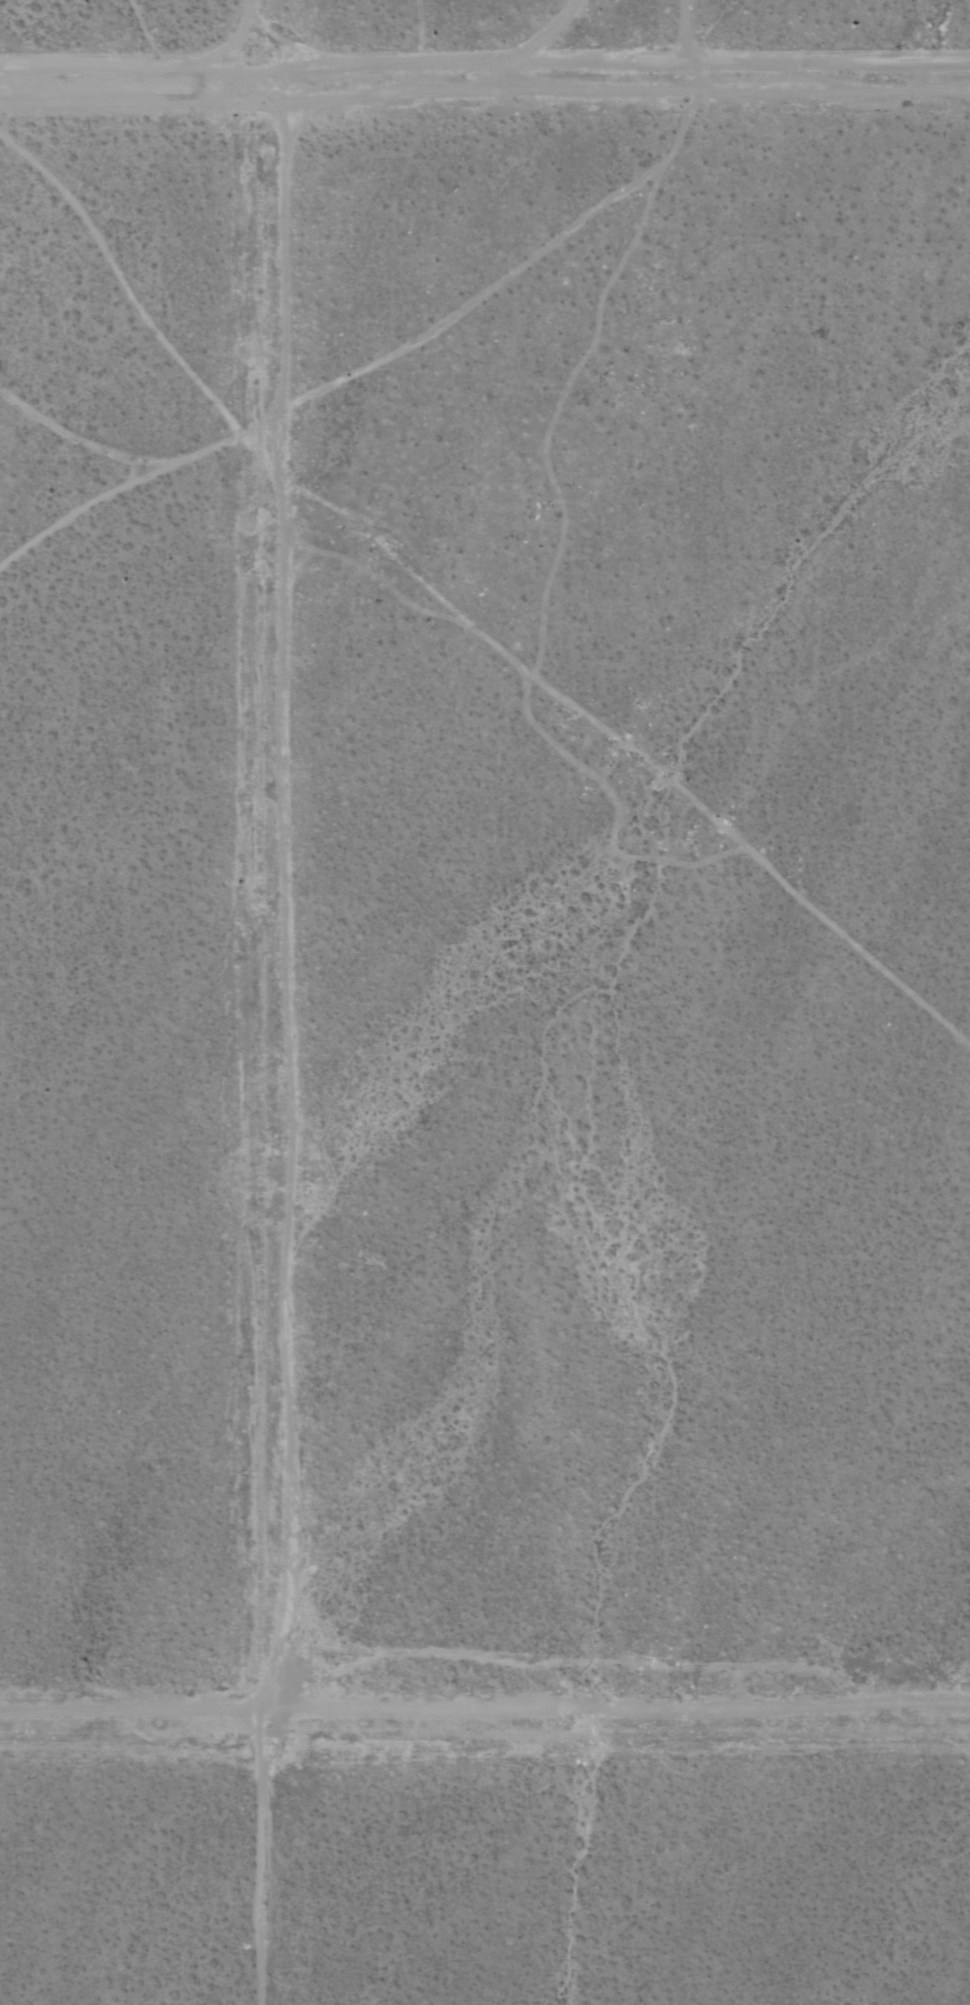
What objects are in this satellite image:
road: (682, 30)
road: (484, 72)
road: (265, 1002)
road: (142, 1706)
road: (627, 1707)

